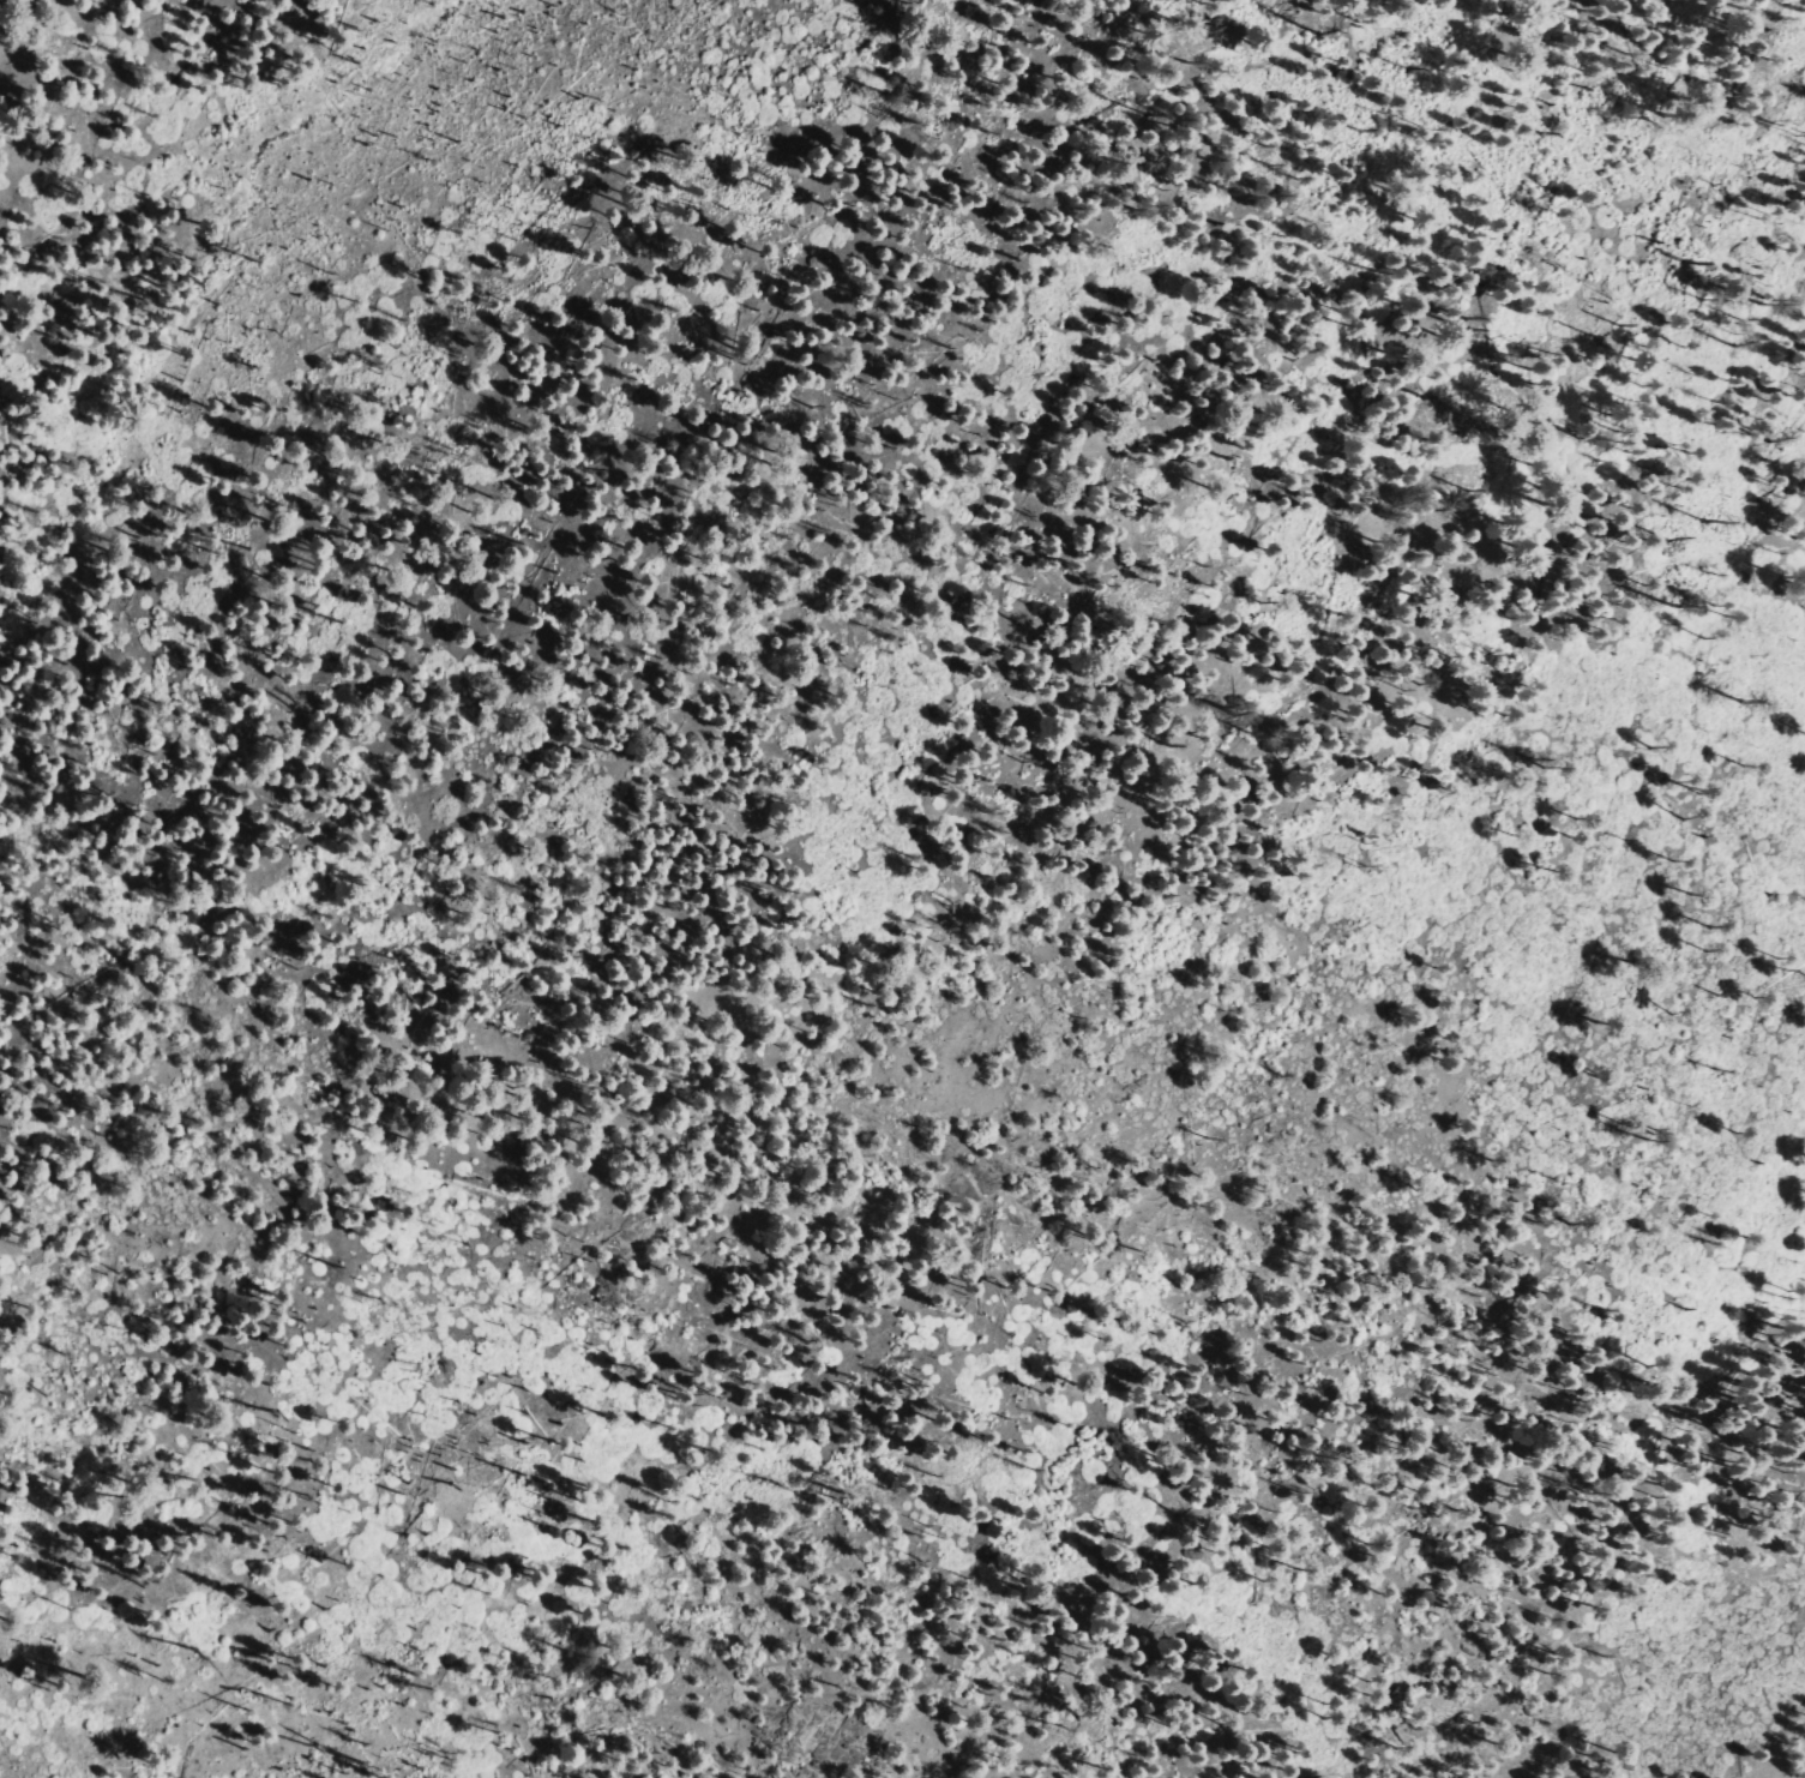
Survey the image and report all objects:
road: (1774, 1756)

